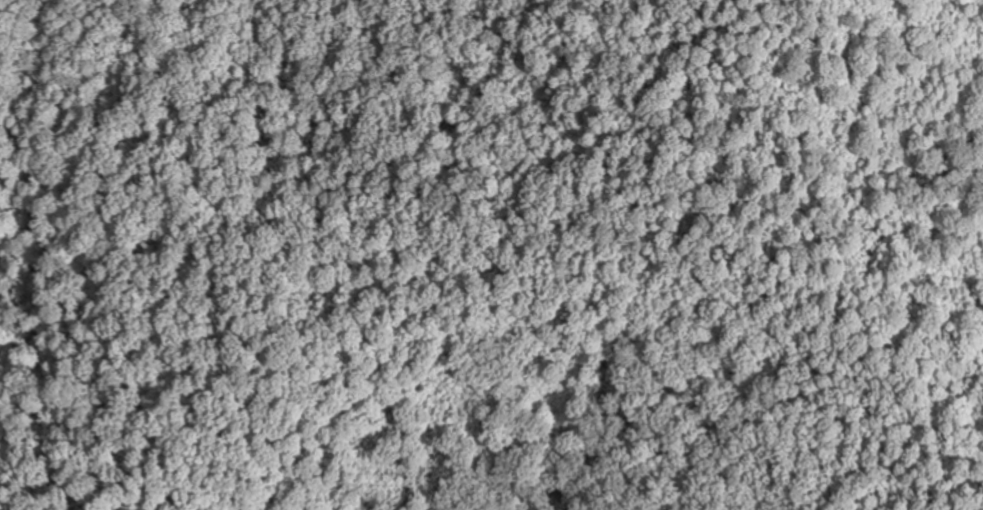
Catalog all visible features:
road: (755, 241)
road: (932, 474)
road: (865, 487)

